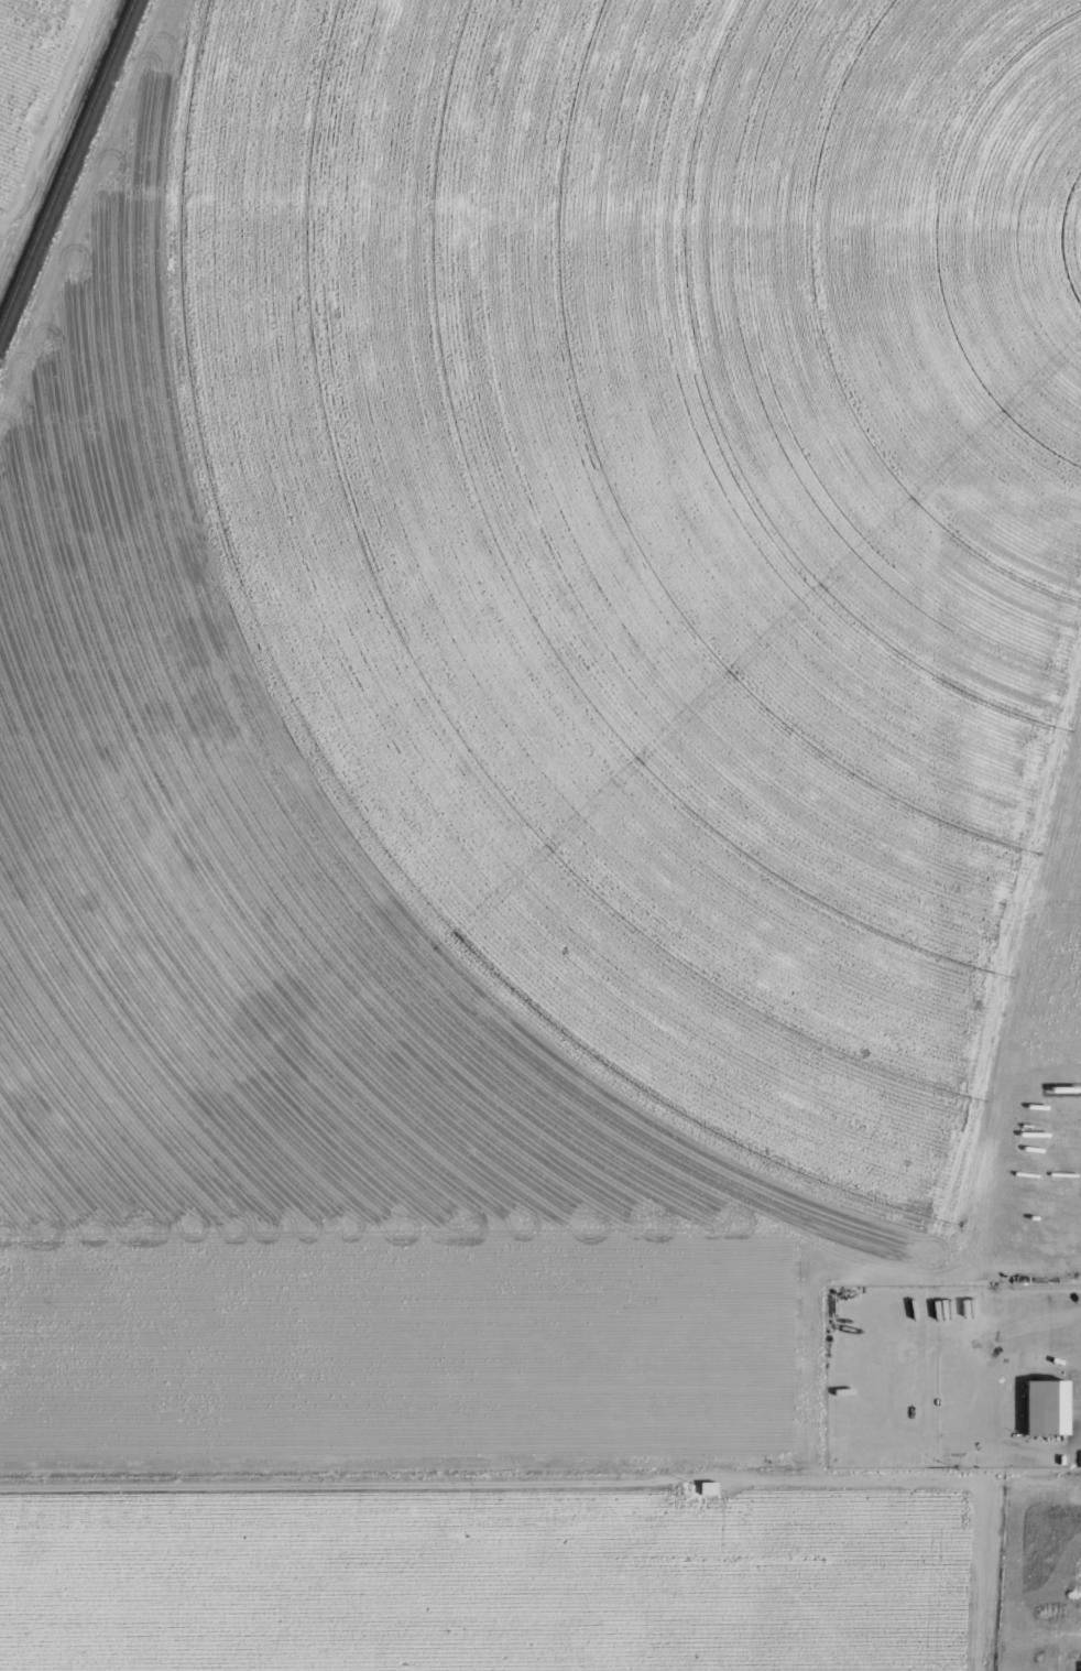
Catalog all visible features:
crop: (29, 68)
railway: (66, 163)
crop: (663, 519)
building: (1044, 995)
building: (1075, 1266)
building: (1040, 1406)
road: (585, 1483)
building: (705, 1487)
building: (1018, 1660)
building: (1041, 1663)

